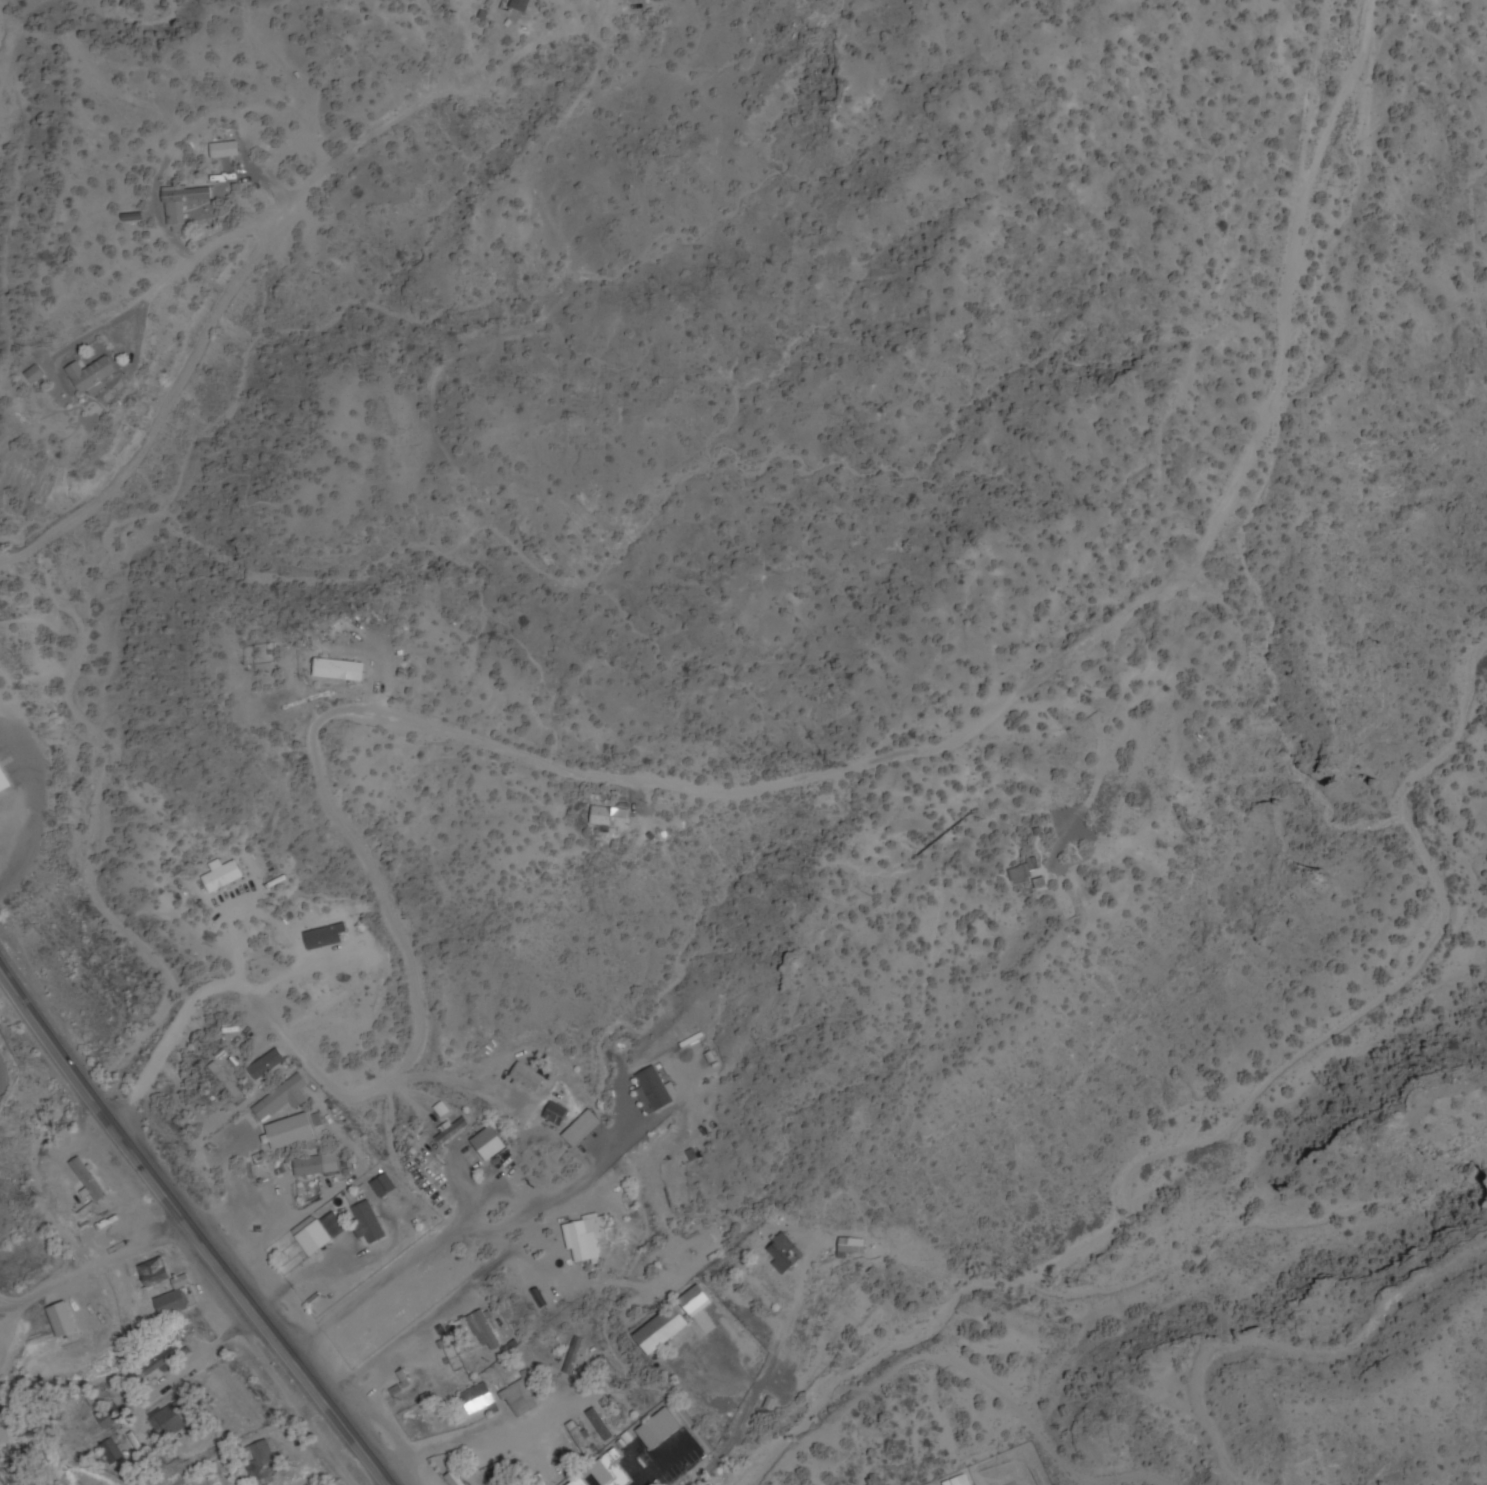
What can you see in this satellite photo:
building: (521, 5)
building: (224, 151)
building: (183, 206)
road: (264, 244)
building: (90, 376)
building: (33, 378)
building: (338, 670)
building: (3, 785)
road: (676, 789)
building: (611, 816)
building: (1021, 875)
building: (220, 877)
building: (1041, 885)
building: (267, 1065)
building: (525, 1078)
building: (282, 1099)
building: (554, 1115)
building: (291, 1132)
building: (451, 1132)
building: (488, 1144)
building: (309, 1167)
building: (84, 1182)
building: (383, 1187)
building: (368, 1224)
road: (189, 1229)
building: (585, 1239)
building: (849, 1247)
building: (783, 1254)
road: (95, 1270)
building: (439, 1285)
building: (167, 1295)
road: (915, 1325)
building: (662, 1330)
building: (483, 1331)
building: (461, 1335)
building: (157, 1365)
building: (477, 1399)
building: (519, 1399)
building: (109, 1417)
building: (170, 1420)
building: (598, 1425)
building: (658, 1429)
building: (579, 1439)
building: (110, 1452)
building: (263, 1463)
building: (604, 1473)
building: (454, 1479)
building: (311, 1480)

